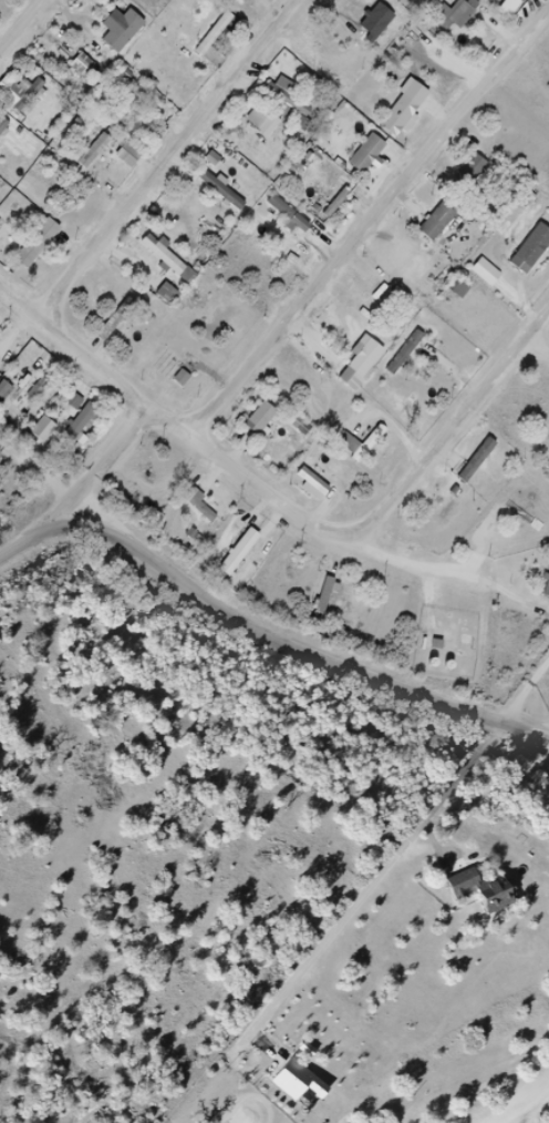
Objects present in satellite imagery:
building: (458, 14)
building: (115, 23)
road: (23, 28)
building: (209, 42)
building: (22, 93)
building: (289, 96)
building: (130, 104)
building: (265, 123)
building: (96, 151)
building: (369, 154)
road: (174, 156)
building: (474, 167)
building: (225, 192)
building: (338, 203)
building: (290, 215)
road: (372, 221)
building: (439, 222)
building: (41, 243)
building: (166, 256)
building: (534, 256)
building: (460, 288)
building: (117, 319)
road: (545, 330)
building: (413, 354)
building: (369, 369)
building: (4, 389)
building: (33, 399)
building: (14, 400)
building: (75, 401)
road: (176, 418)
building: (305, 422)
building: (269, 423)
building: (85, 428)
road: (454, 429)
building: (37, 430)
building: (369, 445)
road: (116, 452)
building: (485, 460)
building: (322, 482)
building: (207, 507)
building: (447, 512)
building: (249, 552)
road: (427, 564)
building: (327, 595)
building: (332, 599)
building: (351, 604)
road: (255, 622)
road: (529, 696)
building: (485, 888)
road: (374, 889)
building: (469, 891)
building: (504, 908)
park: (413, 974)
building: (305, 1086)
road: (250, 1098)

